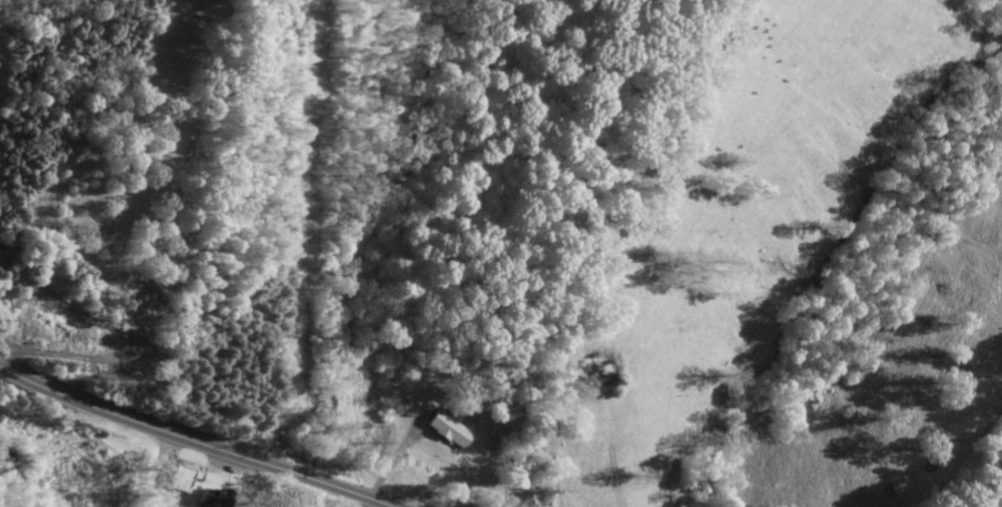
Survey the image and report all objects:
building: (448, 429)
road: (196, 441)
building: (179, 478)
building: (206, 498)

